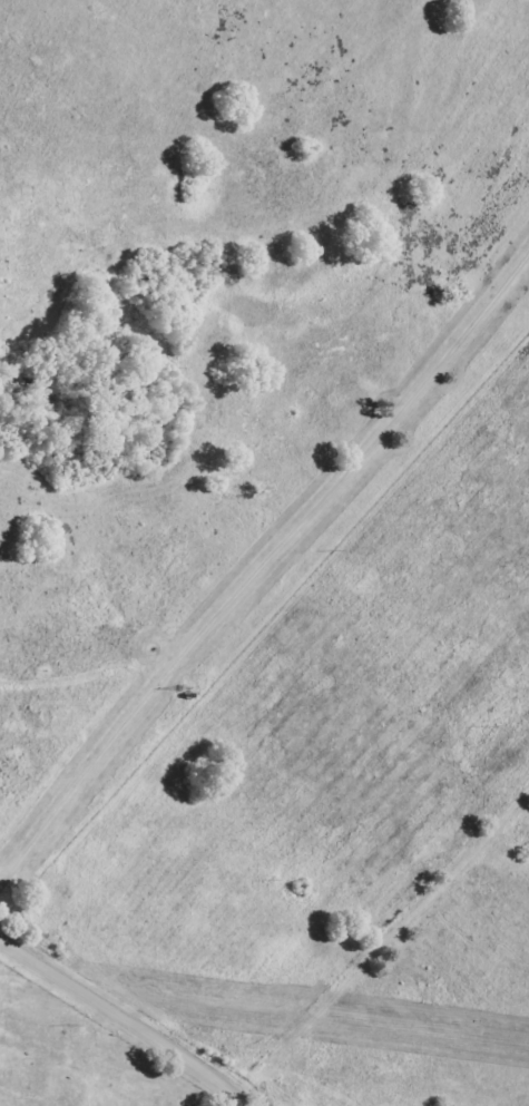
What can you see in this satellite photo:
road: (262, 566)
road: (128, 1018)
road: (227, 1094)

